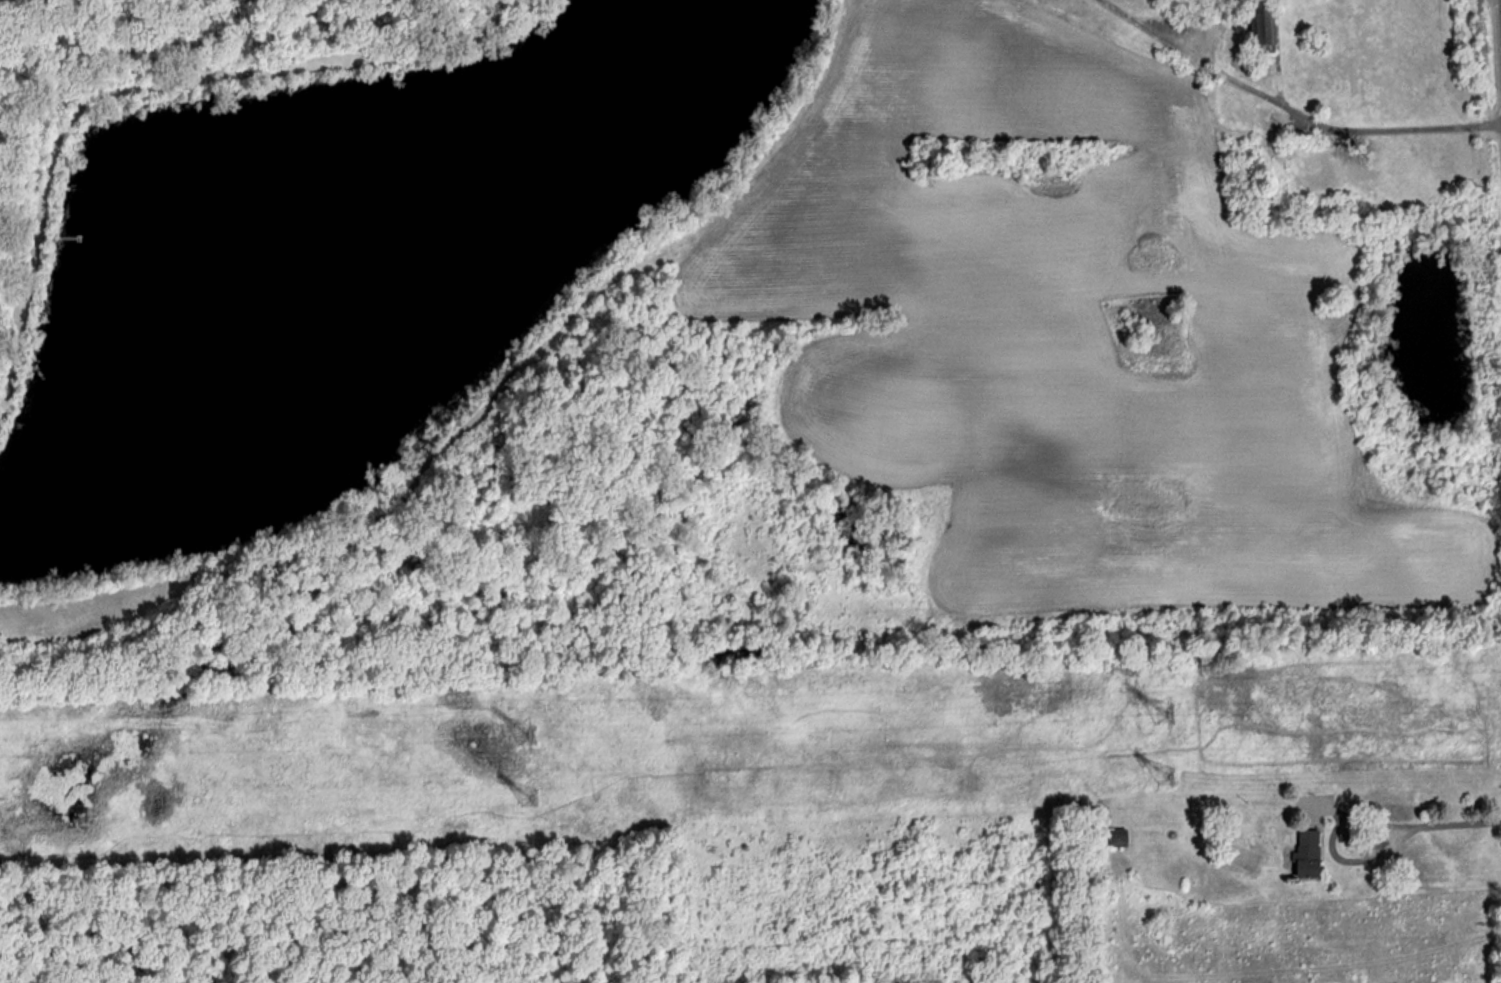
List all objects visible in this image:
building: (1261, 21)
road: (1290, 107)
power tower: (1162, 713)
power tower: (526, 734)
power tower: (1165, 775)
power tower: (528, 797)
road: (1459, 822)
building: (1116, 837)
road: (1331, 843)
building: (1305, 854)

